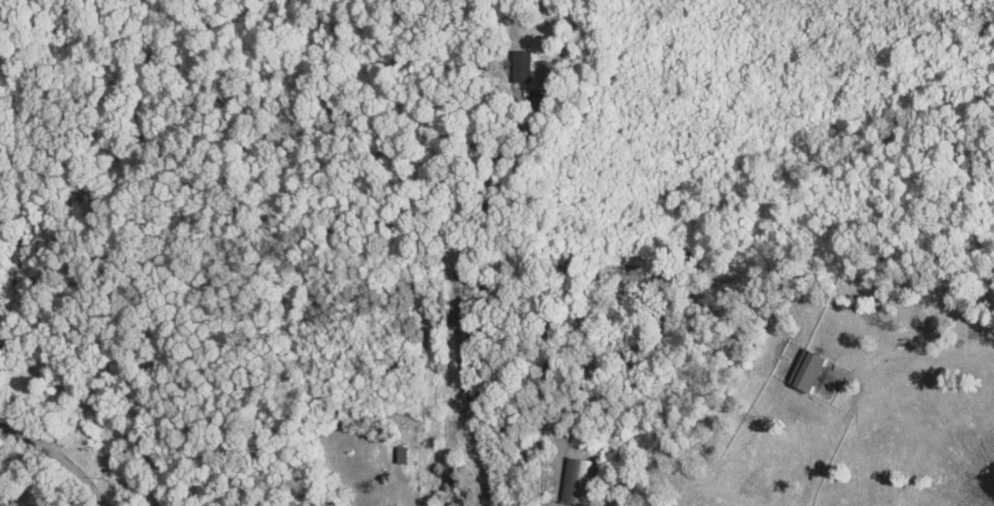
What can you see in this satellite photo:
building: (526, 65)
road: (457, 303)
building: (804, 370)
road: (102, 413)
road: (61, 453)
building: (400, 453)
building: (574, 480)

